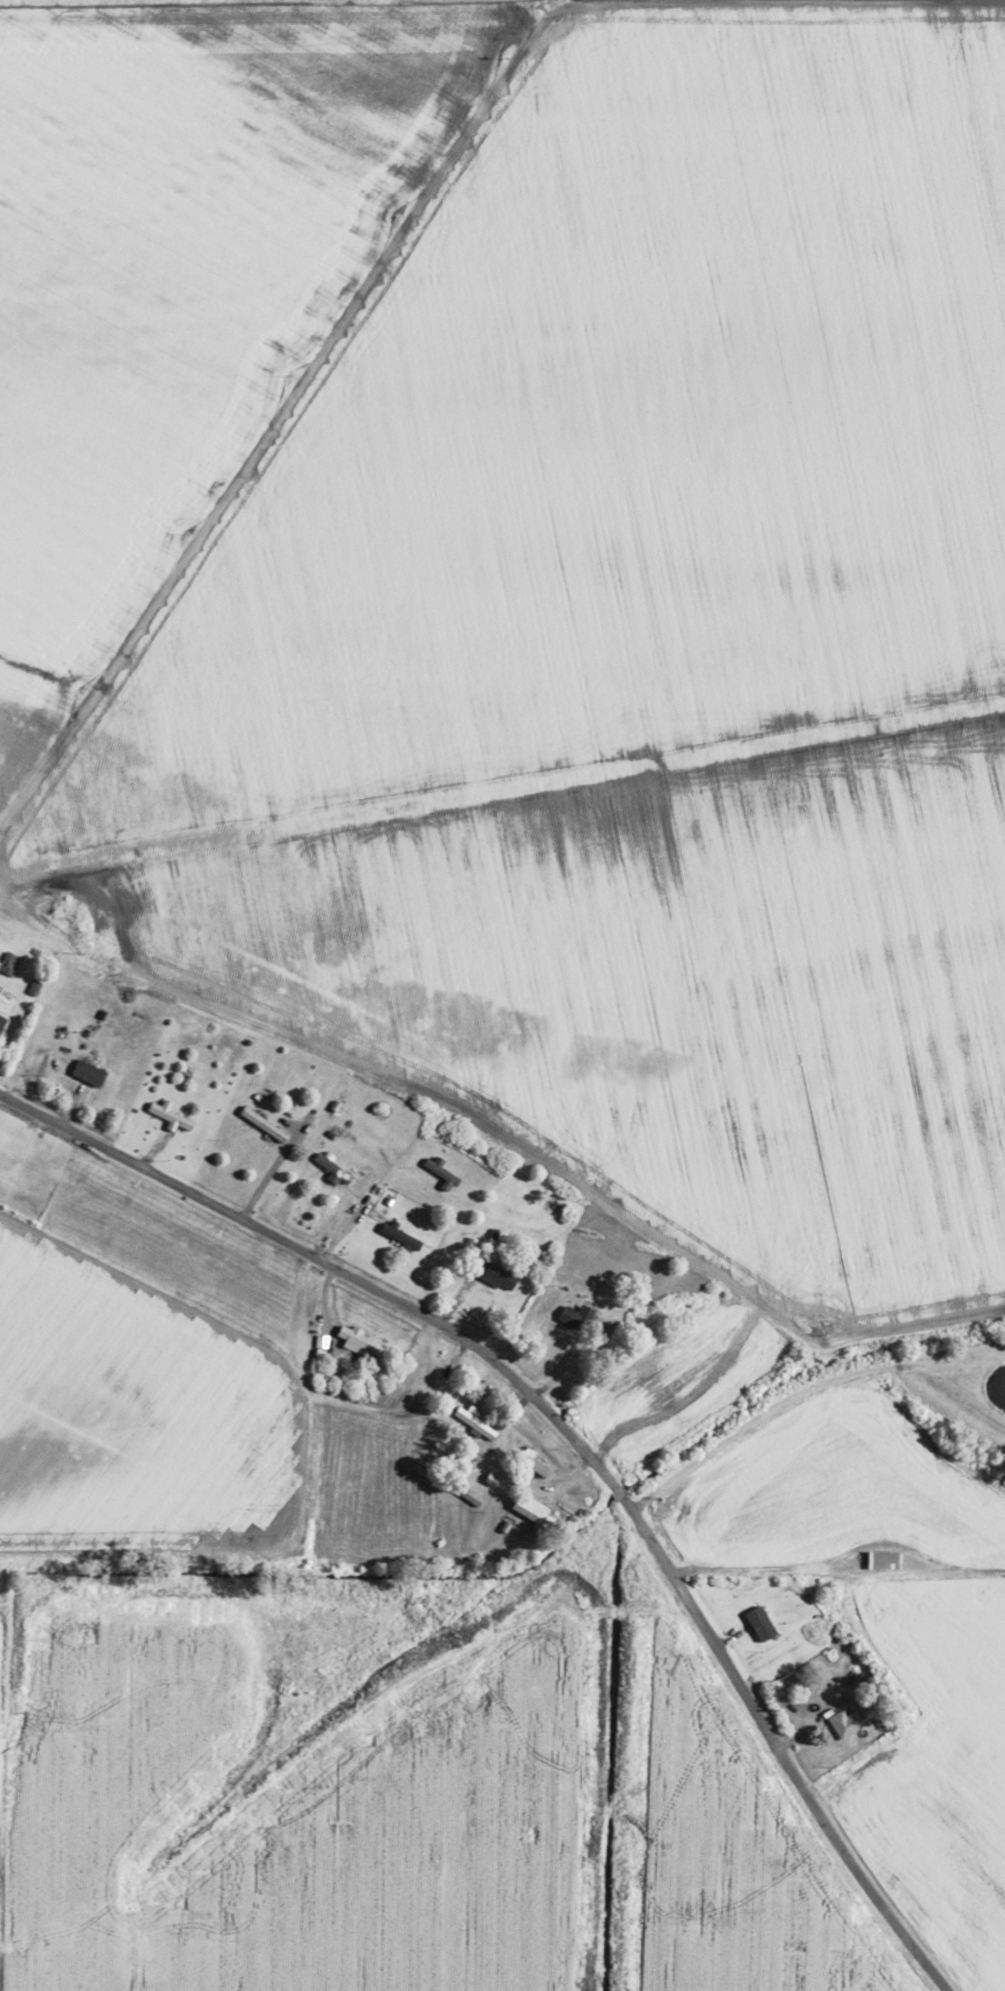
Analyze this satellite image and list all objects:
road: (265, 7)
building: (2, 1021)
building: (90, 1072)
building: (270, 1127)
building: (402, 1236)
road: (333, 1270)
building: (495, 1274)
building: (576, 1317)
building: (360, 1340)
building: (323, 1341)
building: (476, 1422)
road: (629, 1511)
road: (155, 1557)
building: (884, 1559)
road: (798, 1562)
building: (761, 1622)
building: (847, 1722)
road: (781, 1761)

